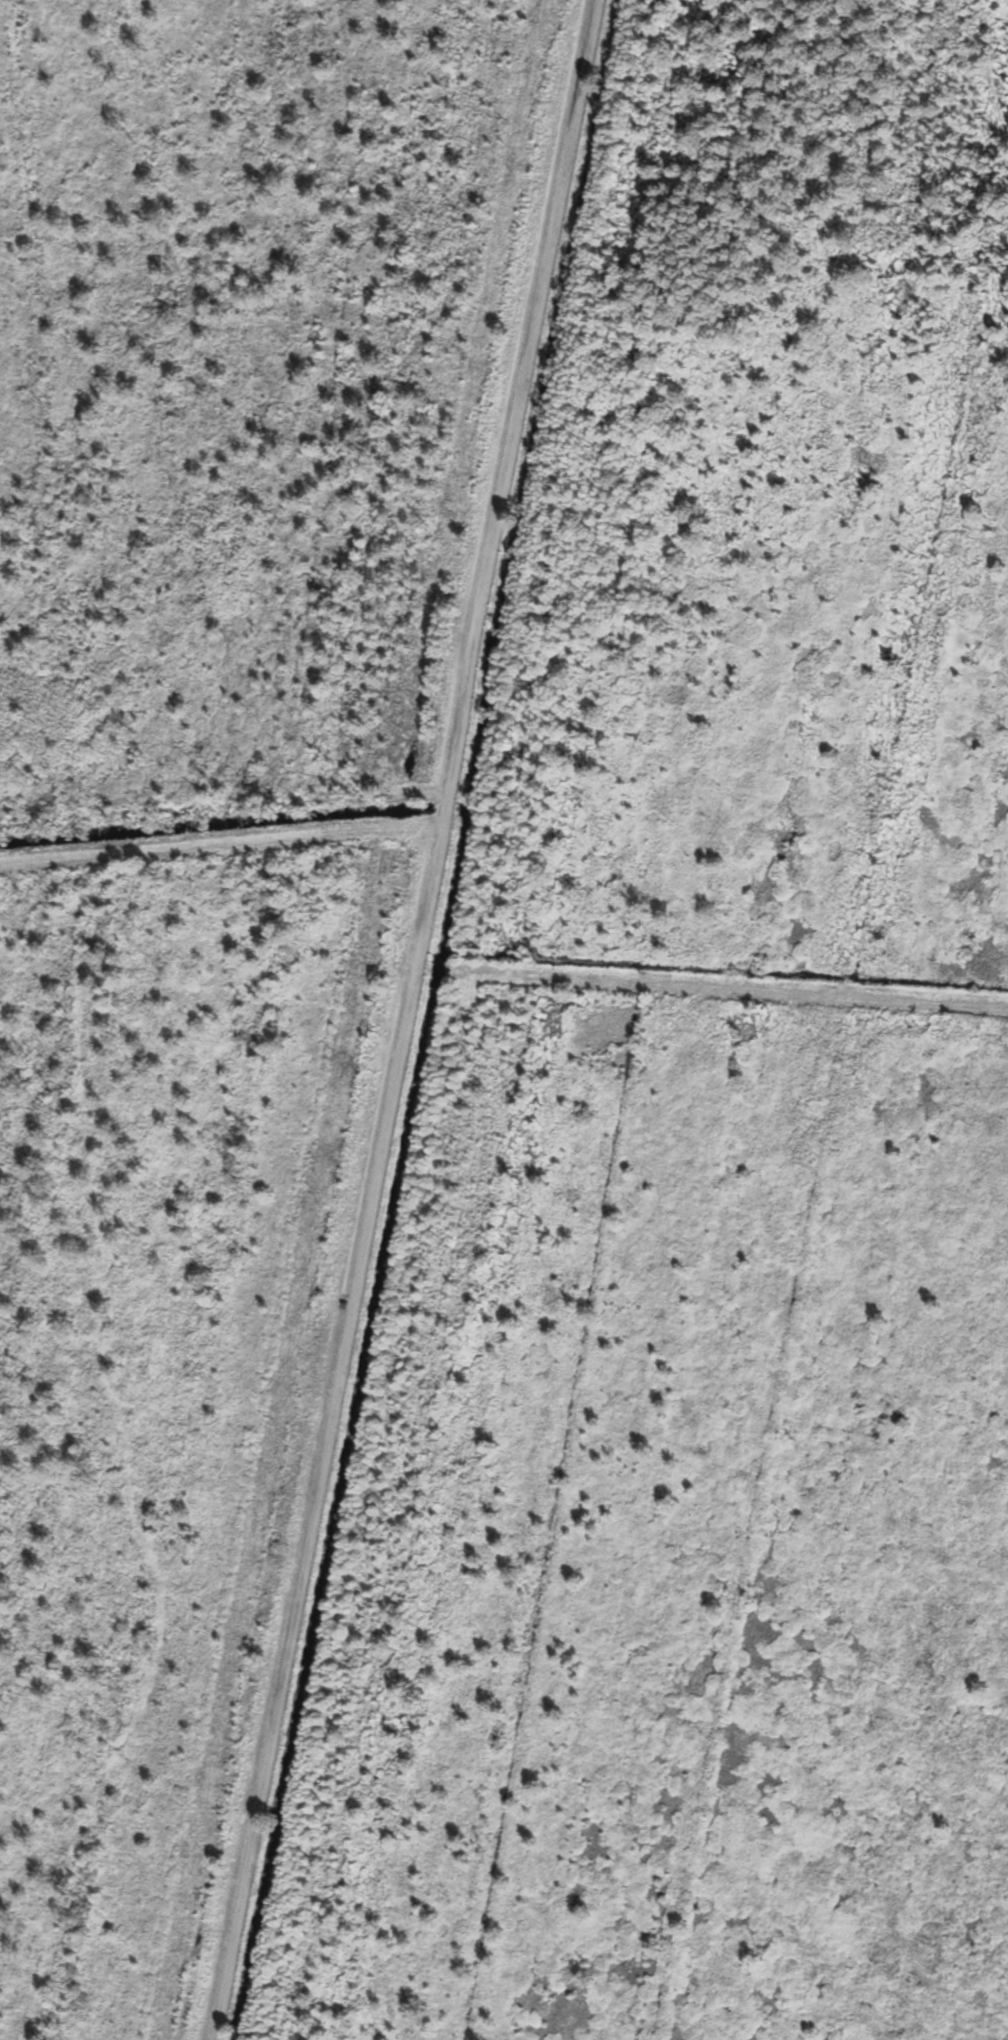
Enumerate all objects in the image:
road: (219, 836)
road: (740, 985)
road: (403, 1020)

